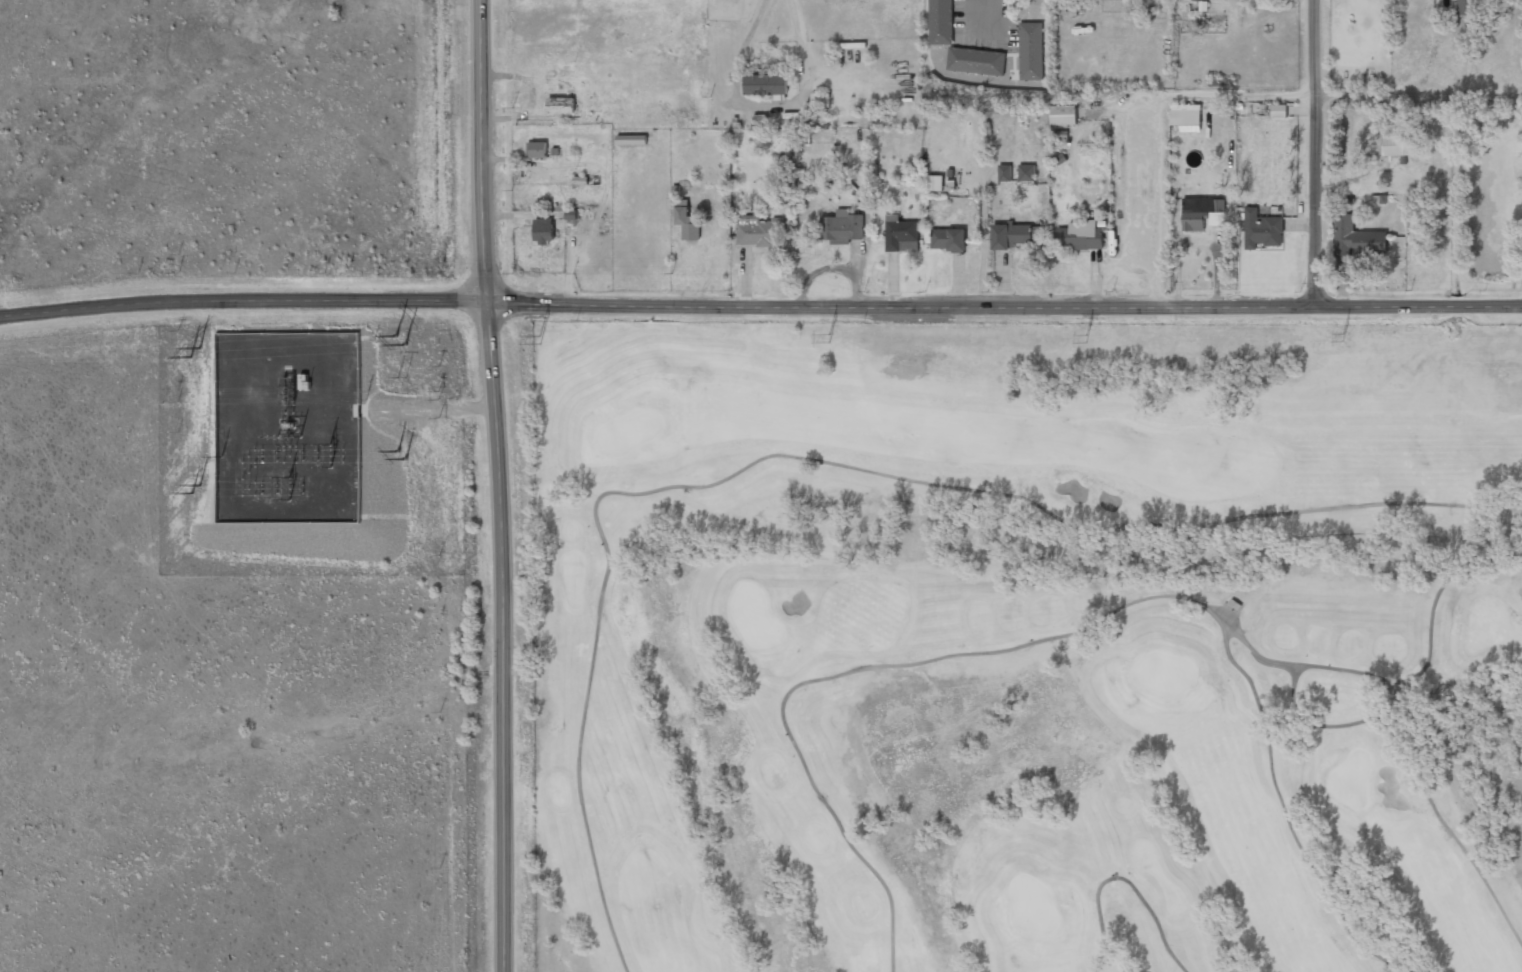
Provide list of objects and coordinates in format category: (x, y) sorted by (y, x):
building: (1466, 7)
road: (987, 13)
building: (938, 21)
building: (1029, 51)
building: (974, 61)
building: (764, 84)
building: (820, 100)
building: (560, 104)
building: (1278, 111)
building: (1063, 114)
building: (564, 116)
building: (1061, 134)
building: (1411, 139)
building: (1394, 144)
building: (528, 149)
building: (537, 149)
building: (554, 151)
road: (1310, 153)
building: (1059, 158)
building: (1403, 159)
building: (1004, 172)
building: (1026, 172)
building: (580, 180)
building: (934, 182)
building: (950, 184)
building: (675, 188)
building: (1382, 198)
building: (1375, 199)
building: (681, 202)
building: (1201, 213)
building: (570, 214)
building: (686, 223)
building: (1102, 223)
building: (841, 227)
building: (1261, 229)
building: (543, 230)
building: (759, 230)
building: (900, 234)
building: (1010, 234)
building: (1080, 235)
building: (927, 236)
building: (1355, 238)
building: (948, 239)
road: (242, 301)
road: (1003, 305)
power tower: (1342, 337)
power tower: (827, 338)
power tower: (1084, 338)
power tower: (539, 339)
power tower: (398, 340)
power tower: (196, 352)
power substation: (288, 428)
power tower: (401, 455)
road: (819, 461)
road: (500, 485)
power tower: (197, 490)
building: (1234, 604)
road: (1053, 637)
park: (1026, 647)
road: (1416, 770)
road: (1284, 811)
road: (1122, 877)

